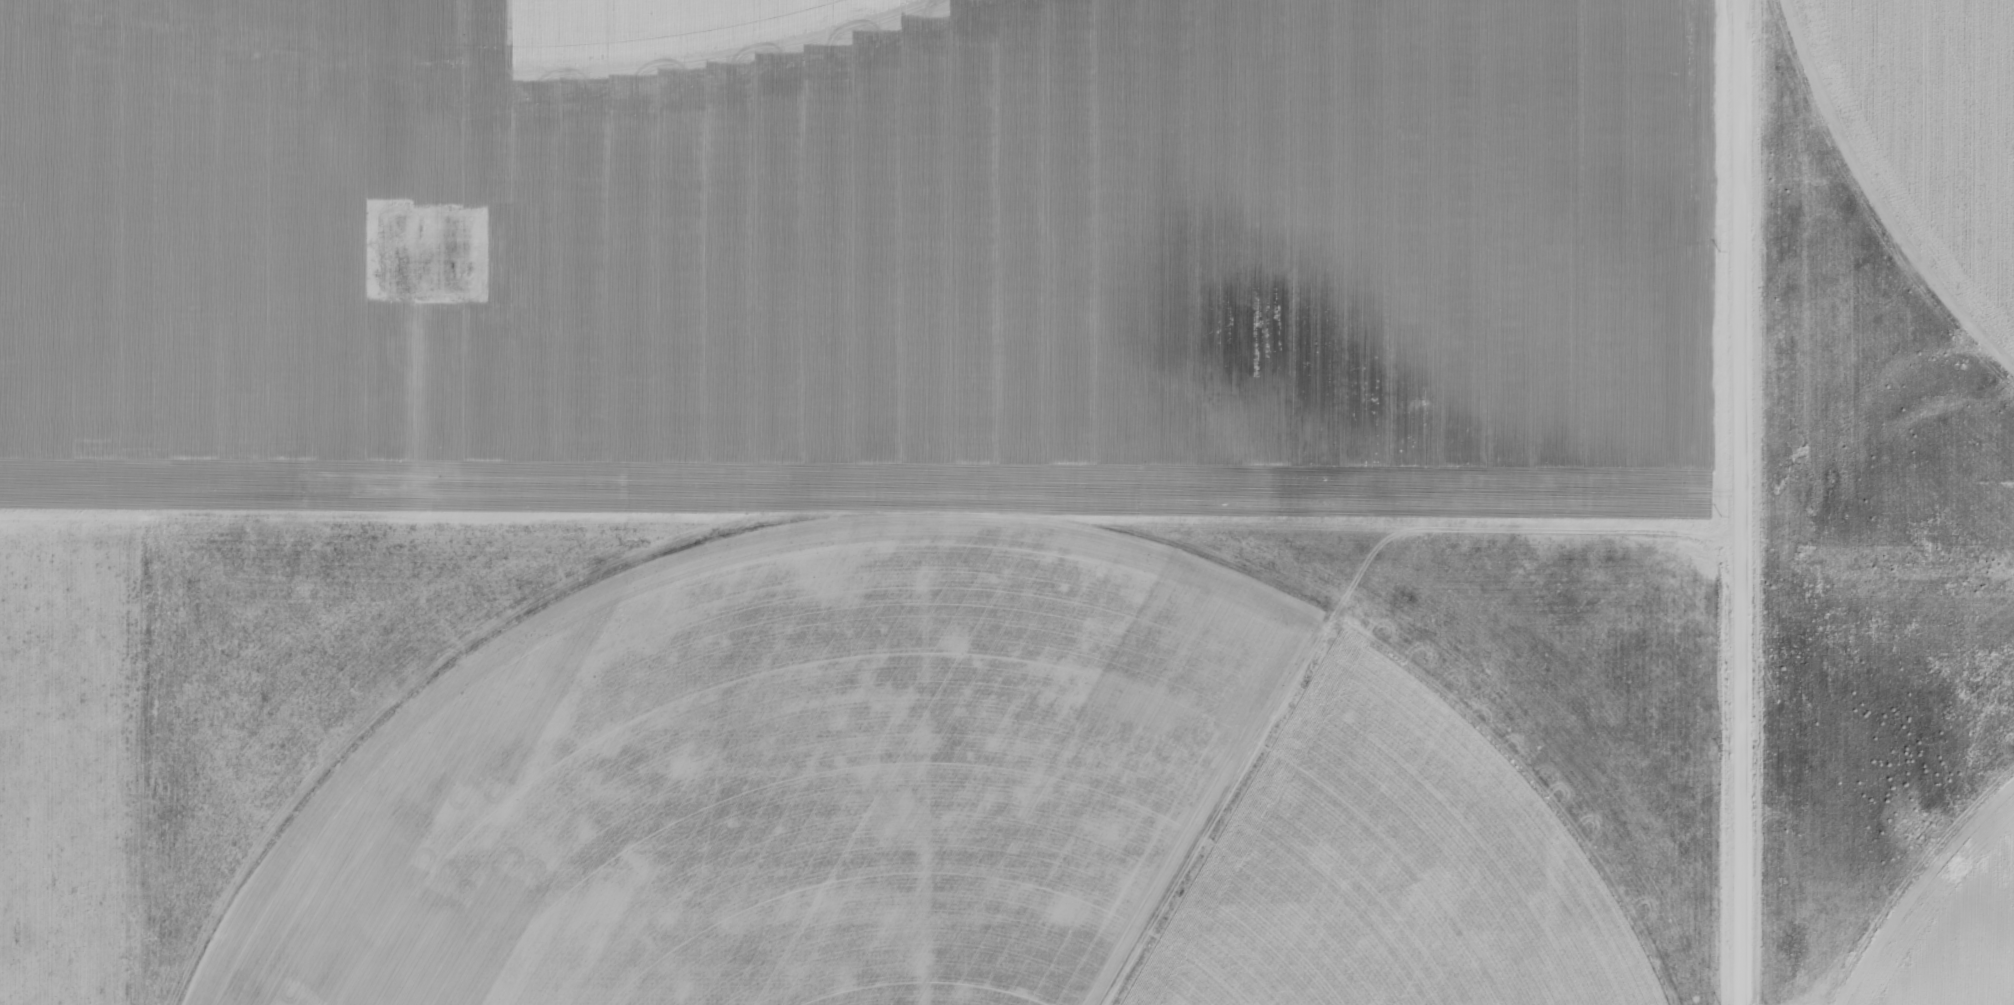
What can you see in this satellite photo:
road: (1764, 502)
road: (1889, 904)

